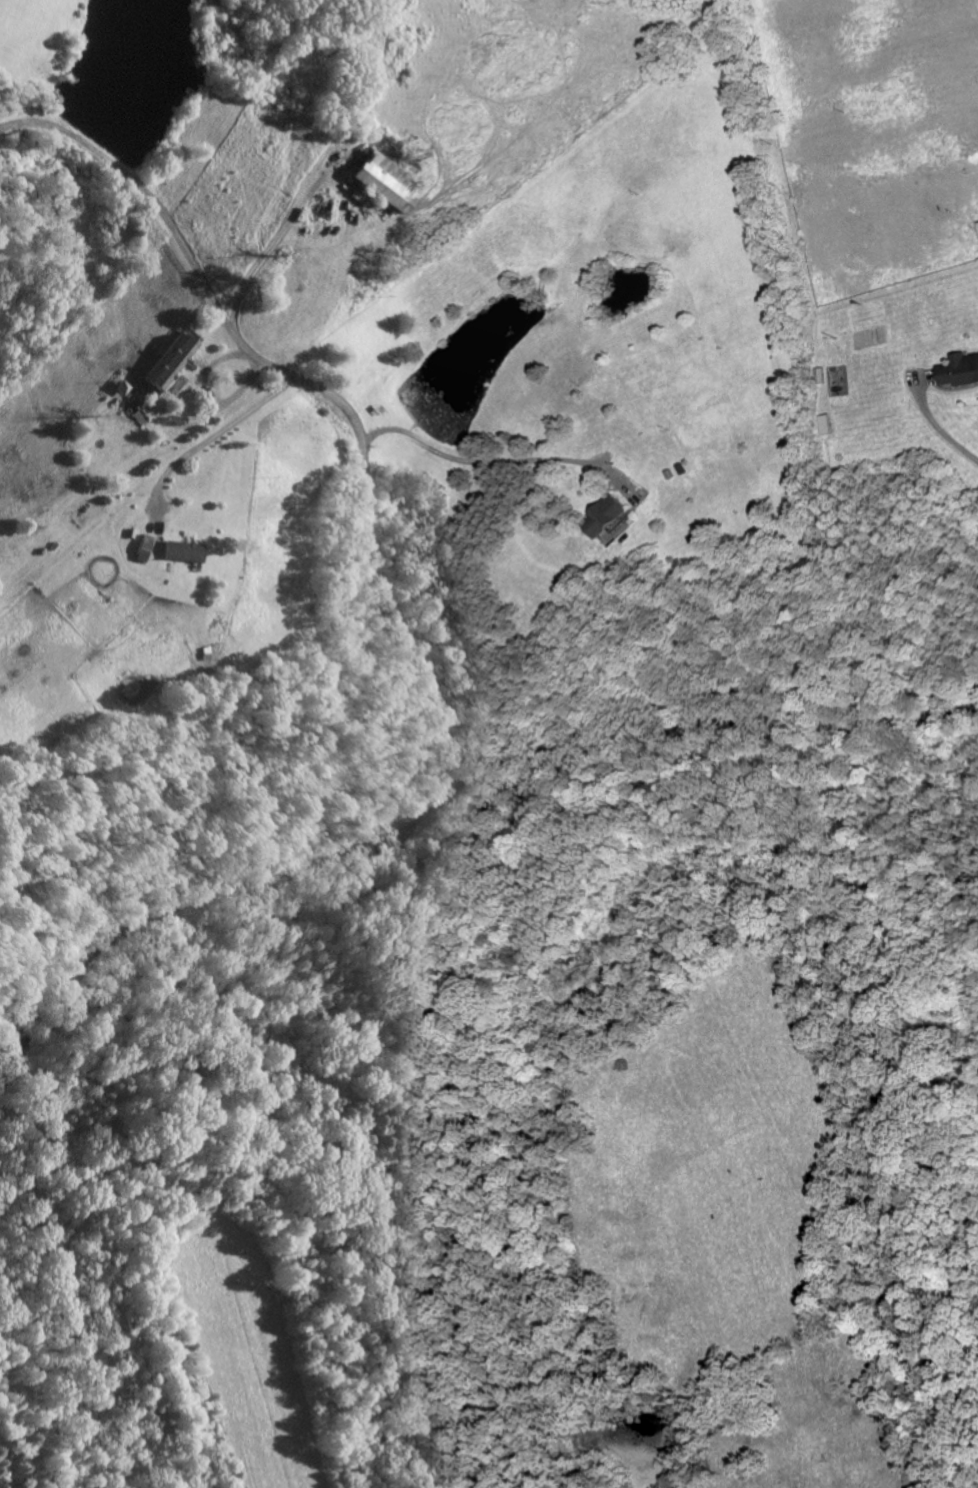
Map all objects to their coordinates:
building: (387, 184)
building: (171, 365)
building: (959, 372)
road: (327, 393)
road: (936, 429)
road: (207, 439)
road: (481, 463)
building: (605, 518)
building: (145, 550)
building: (185, 554)
road: (458, 786)

